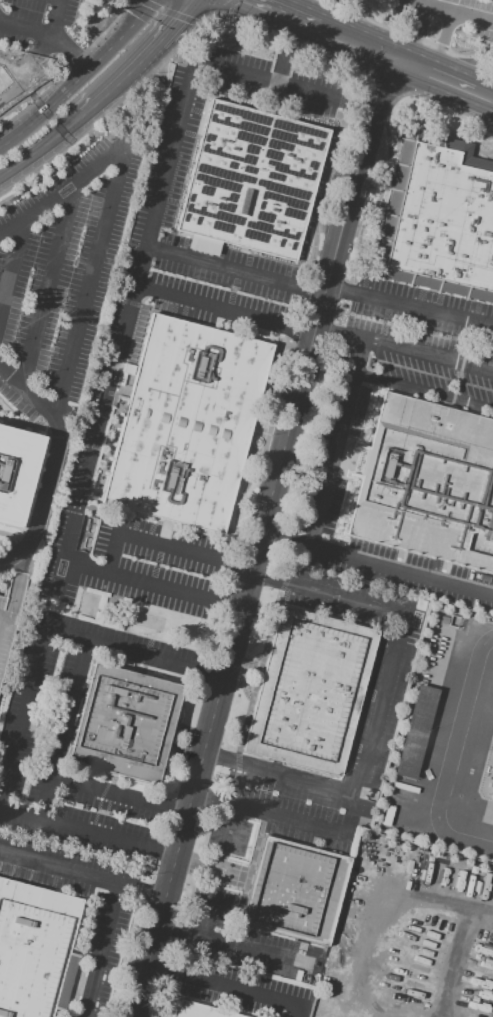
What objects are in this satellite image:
road: (220, 9)
road: (449, 11)
road: (167, 12)
road: (54, 18)
road: (279, 18)
road: (25, 29)
road: (409, 34)
road: (167, 37)
road: (417, 39)
road: (282, 40)
road: (442, 46)
road: (350, 49)
road: (70, 52)
road: (80, 76)
road: (426, 78)
road: (379, 88)
road: (113, 92)
road: (306, 92)
road: (481, 100)
road: (387, 145)
road: (45, 149)
building: (251, 179)
road: (107, 214)
building: (435, 220)
road: (11, 266)
road: (233, 270)
road: (48, 285)
road: (133, 288)
road: (408, 306)
road: (223, 307)
road: (403, 347)
road: (423, 392)
building: (186, 422)
road: (27, 425)
road: (54, 438)
road: (335, 442)
road: (53, 464)
building: (14, 474)
building: (426, 482)
road: (16, 536)
road: (258, 539)
road: (10, 544)
road: (164, 545)
road: (400, 572)
road: (18, 581)
road: (152, 583)
road: (44, 626)
parking lot: (6, 629)
road: (396, 646)
building: (308, 693)
building: (124, 725)
building: (414, 732)
road: (219, 756)
road: (207, 799)
road: (349, 816)
road: (233, 828)
road: (88, 832)
road: (118, 888)
building: (294, 890)
road: (205, 913)
road: (234, 944)
building: (35, 949)
road: (229, 986)
building: (198, 1010)

